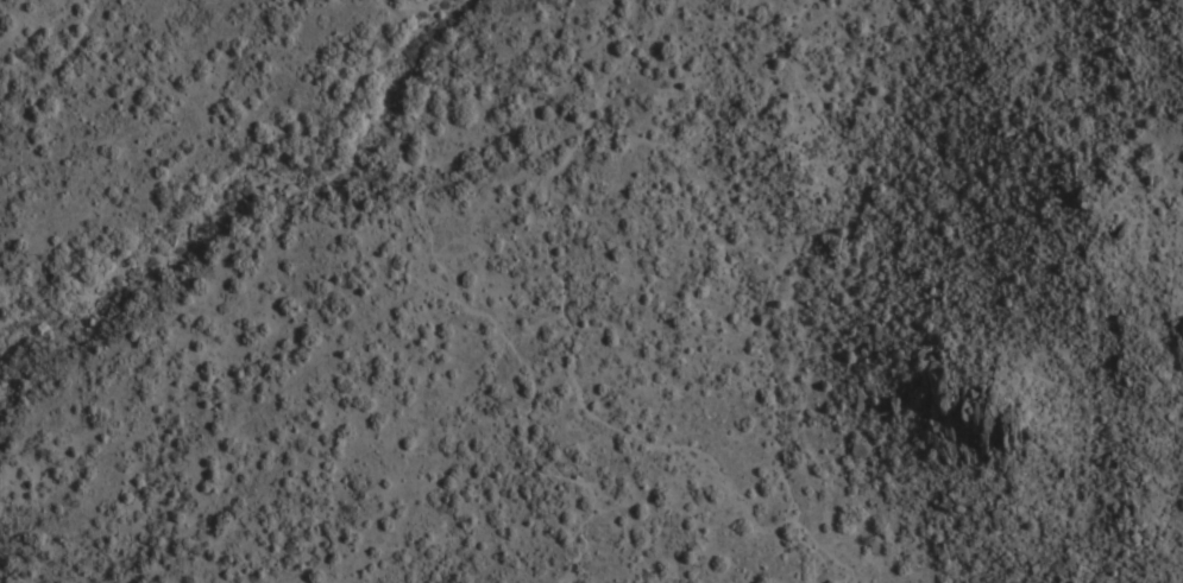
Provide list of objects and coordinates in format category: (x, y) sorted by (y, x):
road: (419, 272)
park: (256, 312)
road: (573, 357)

